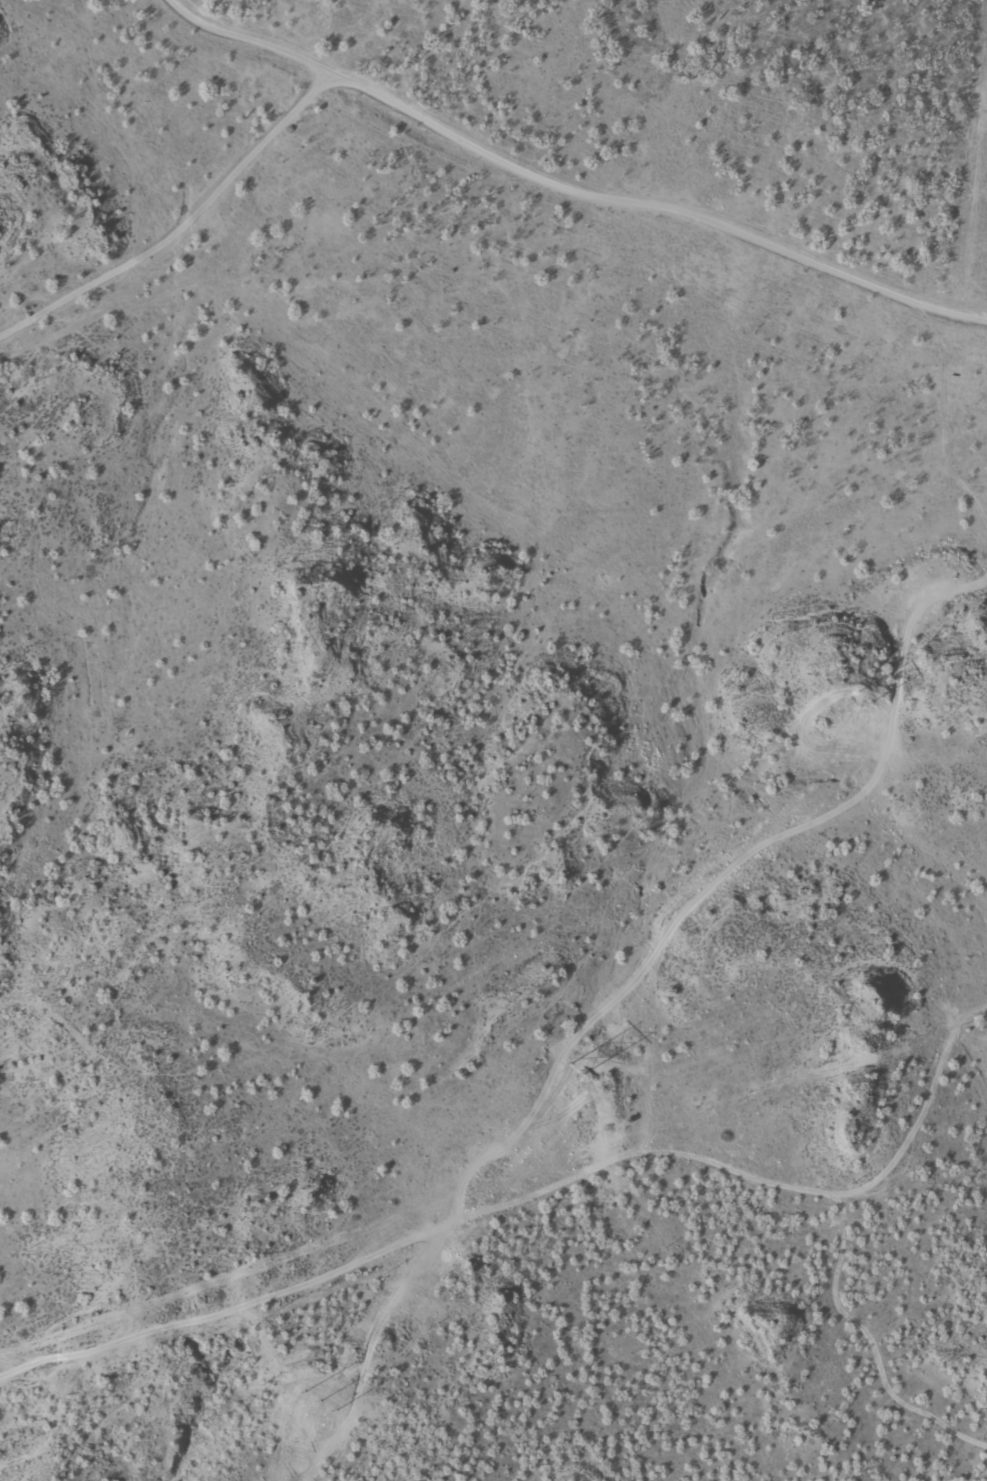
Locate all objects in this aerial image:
road: (538, 190)

